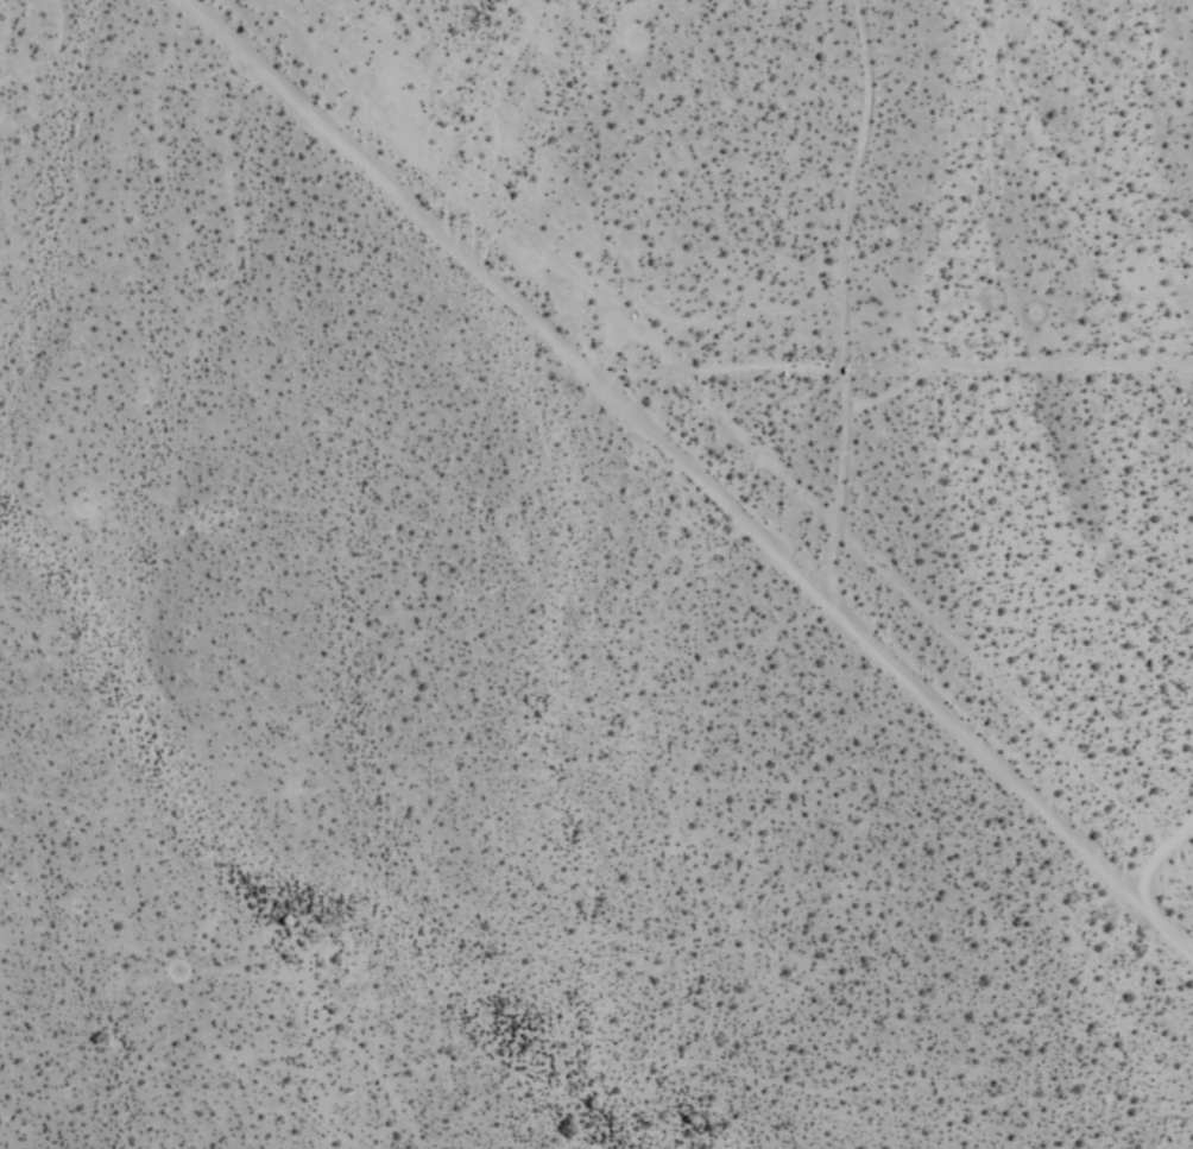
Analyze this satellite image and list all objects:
road: (888, 362)
road: (695, 475)
road: (1156, 853)

